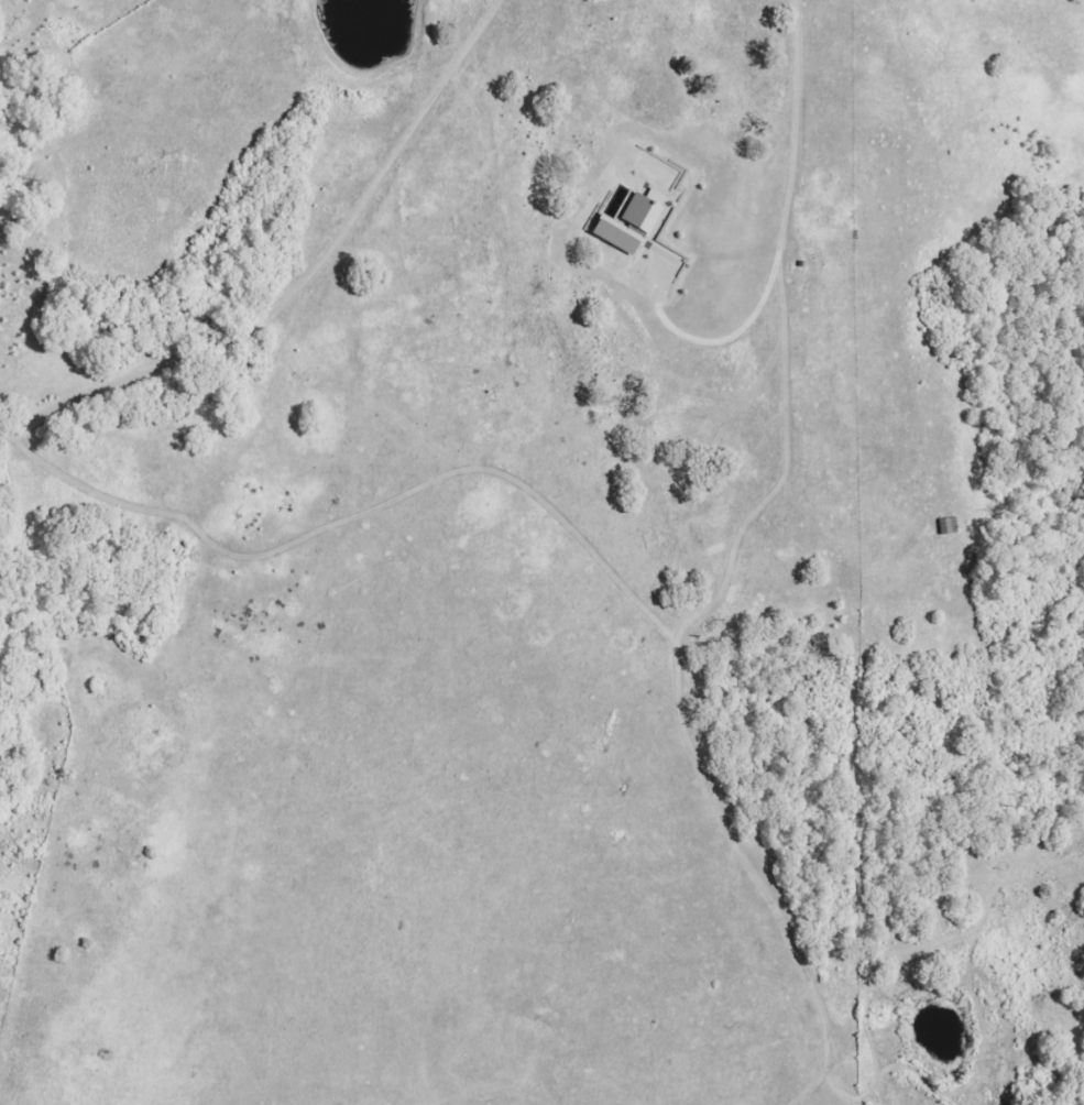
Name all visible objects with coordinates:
building: (632, 220)

